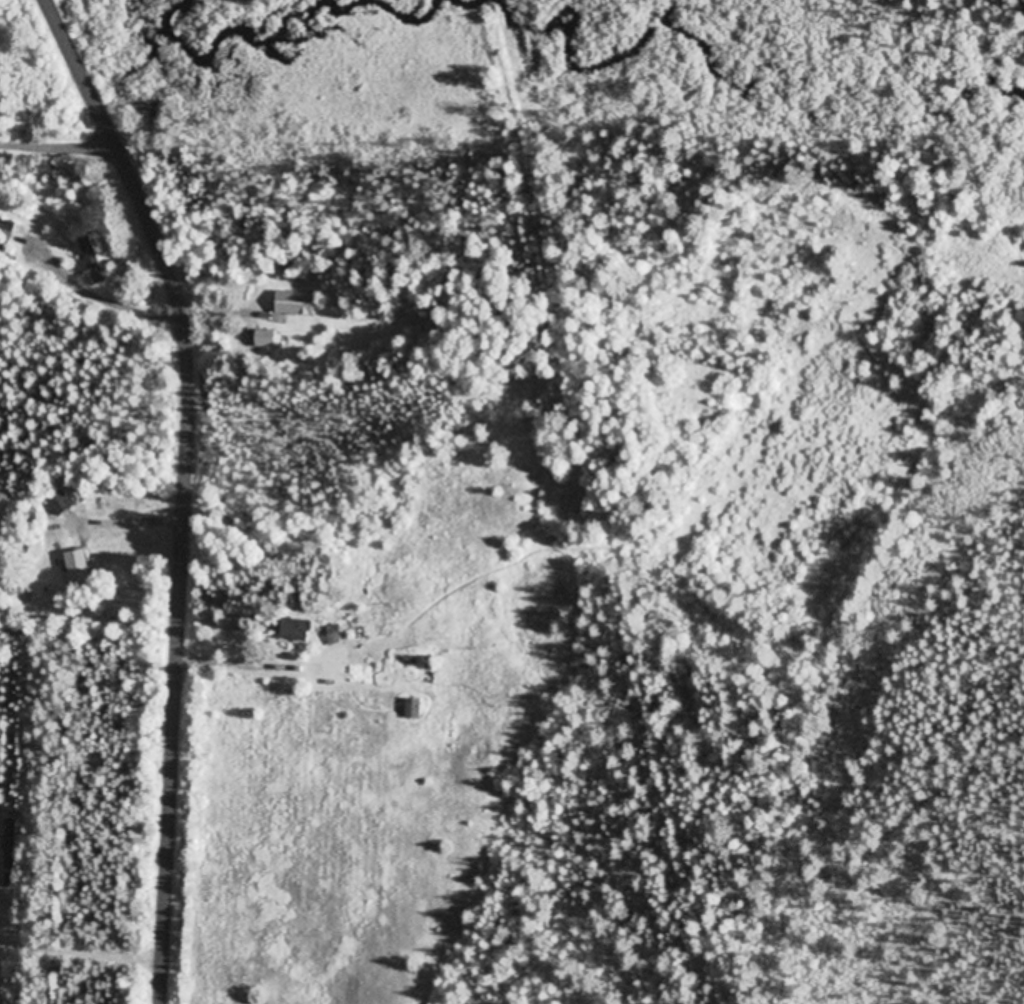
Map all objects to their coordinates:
road: (55, 141)
building: (6, 236)
building: (93, 260)
building: (298, 303)
building: (268, 338)
road: (183, 486)
building: (60, 503)
building: (78, 569)
building: (300, 631)
building: (416, 710)
building: (12, 845)

